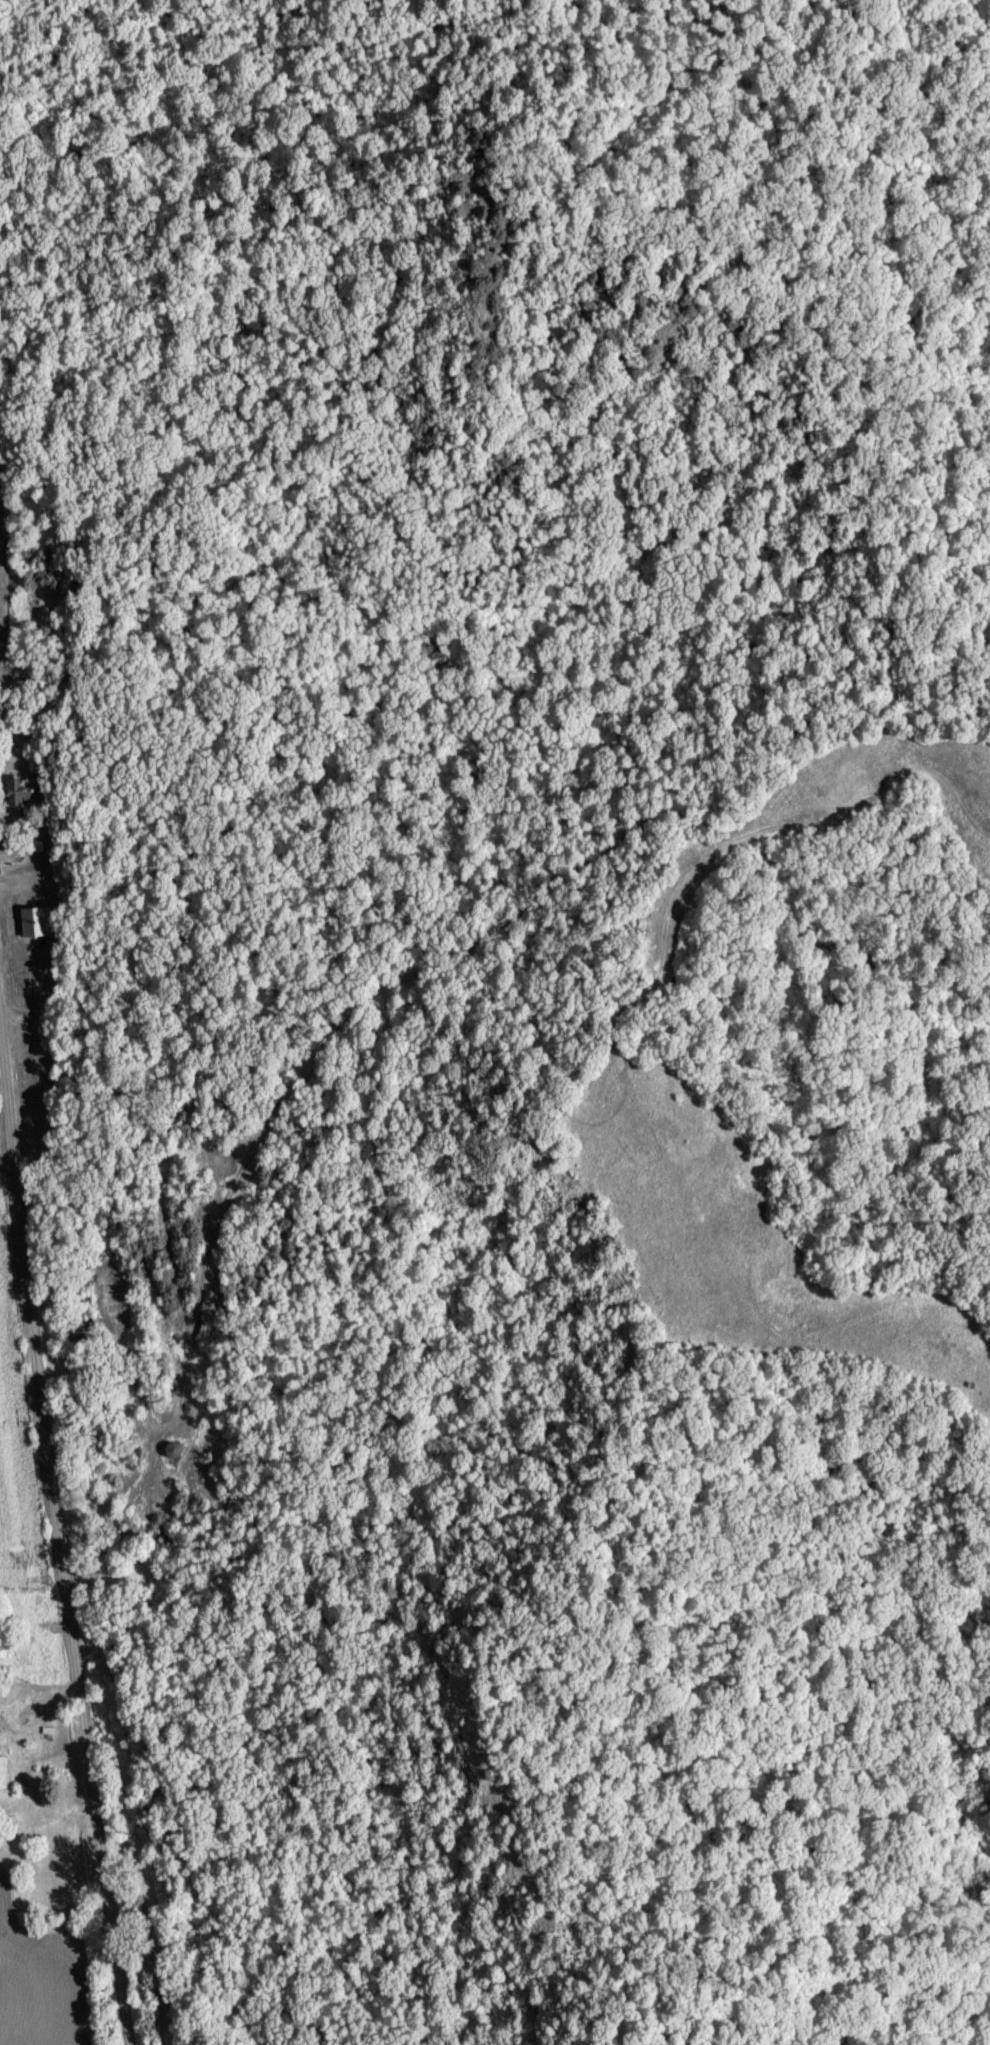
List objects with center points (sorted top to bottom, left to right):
building: (17, 787)
building: (36, 918)
building: (35, 984)
road: (60, 1135)
building: (167, 1446)

